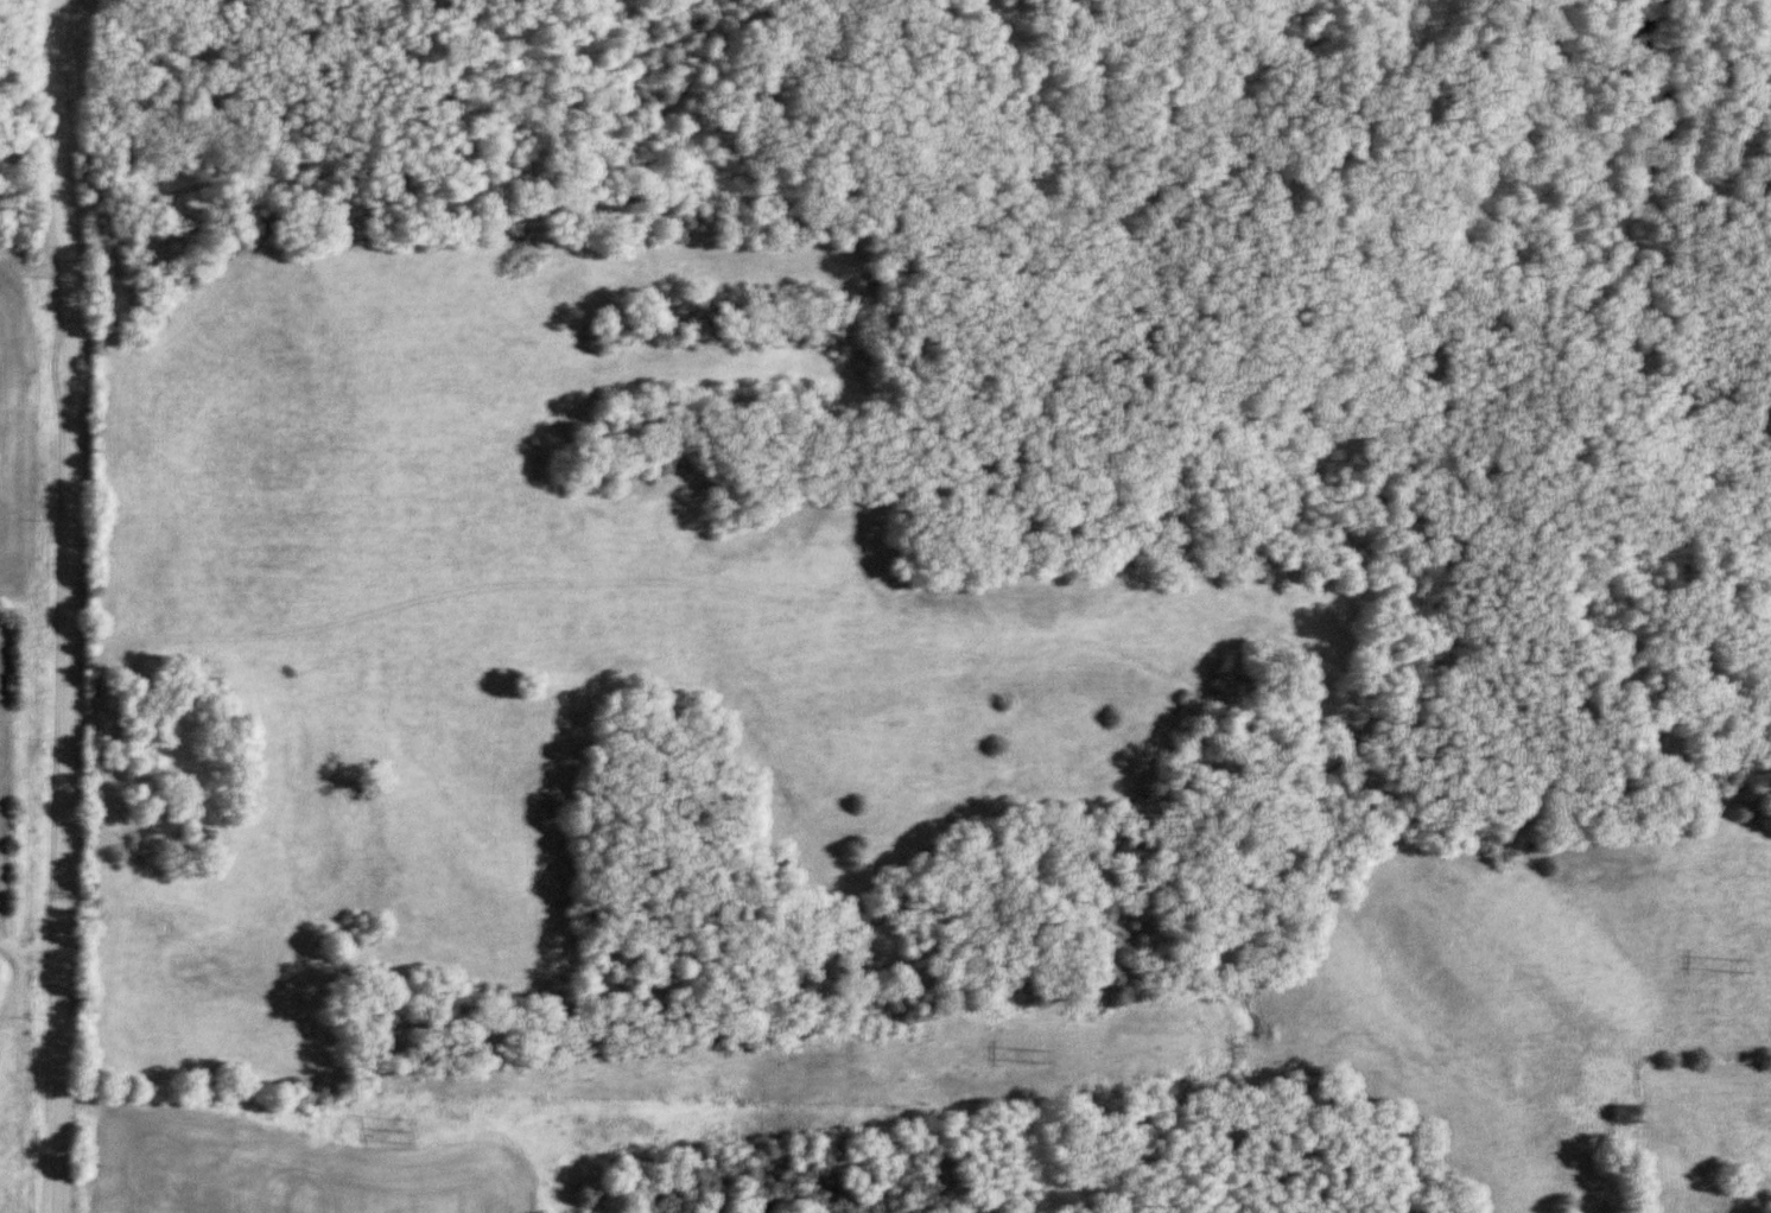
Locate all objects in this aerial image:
road: (69, 605)
power tower: (1729, 963)
road: (17, 965)
power tower: (1022, 1058)
building: (1617, 1113)
power tower: (424, 1136)

